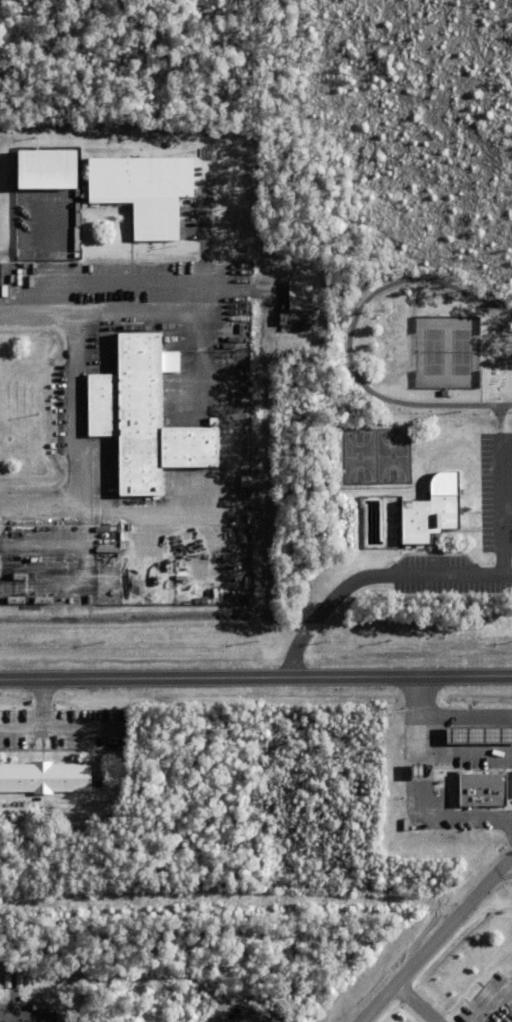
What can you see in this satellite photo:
building: (55, 168)
building: (140, 189)
building: (300, 299)
road: (347, 339)
road: (74, 410)
building: (141, 417)
road: (499, 490)
building: (425, 519)
road: (374, 581)
road: (256, 677)
gas station: (474, 733)
building: (46, 776)
building: (475, 787)
road: (511, 859)
road: (436, 939)
building: (14, 980)
building: (46, 986)
building: (35, 988)
road: (492, 1001)
road: (418, 1003)

